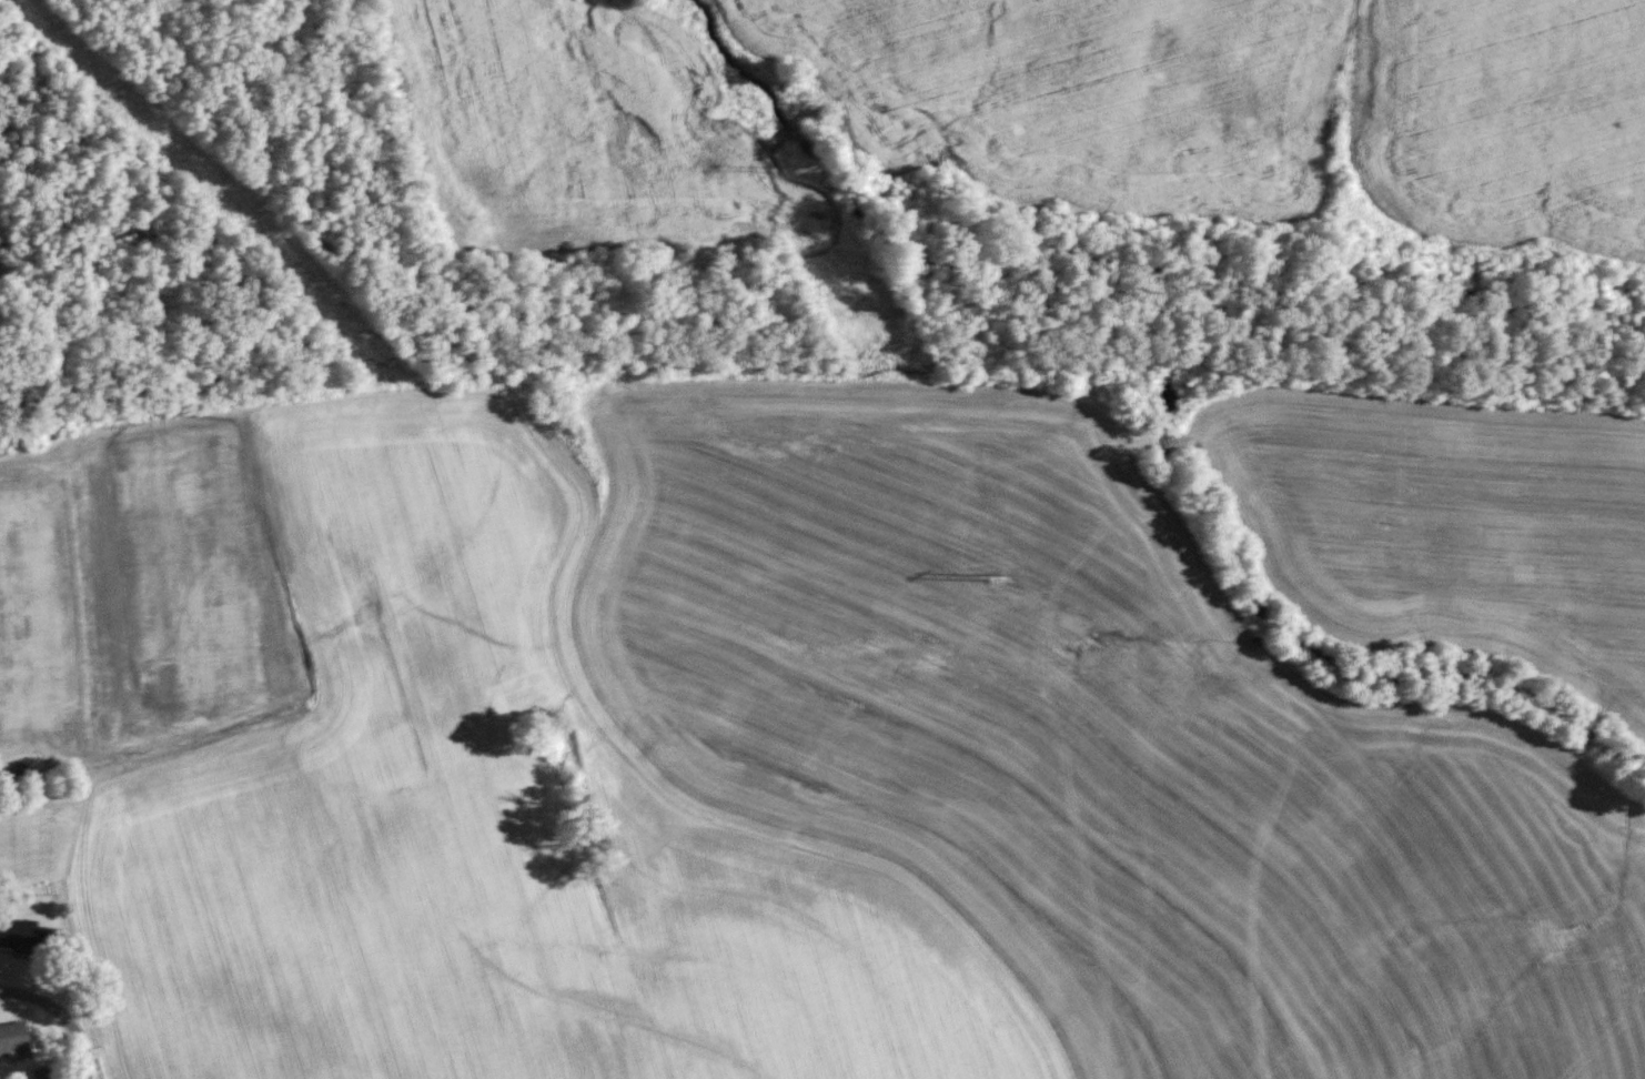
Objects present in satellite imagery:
building: (28, 937)
road: (64, 1015)
building: (13, 1039)
building: (48, 1072)

